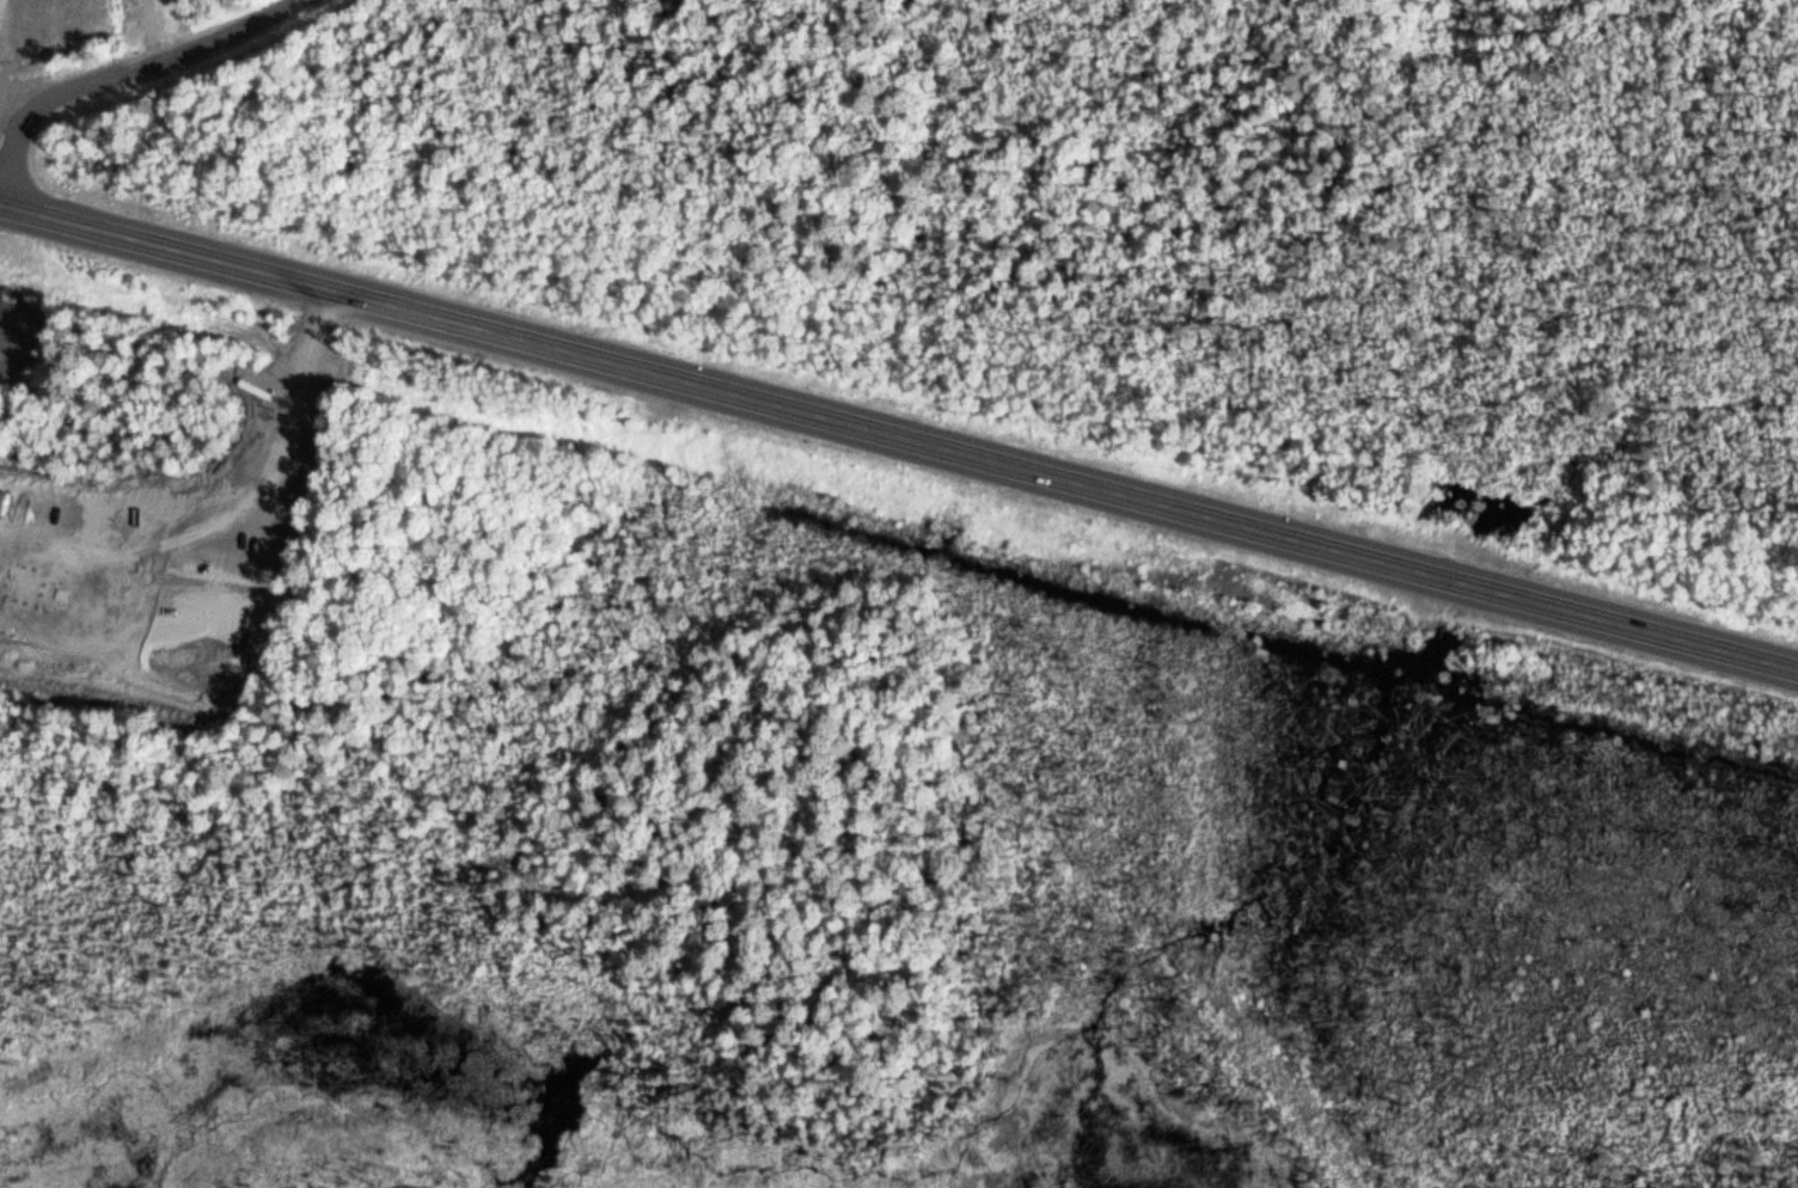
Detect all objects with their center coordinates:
road: (140, 69)
road: (893, 430)
road: (1793, 660)
road: (1210, 870)

